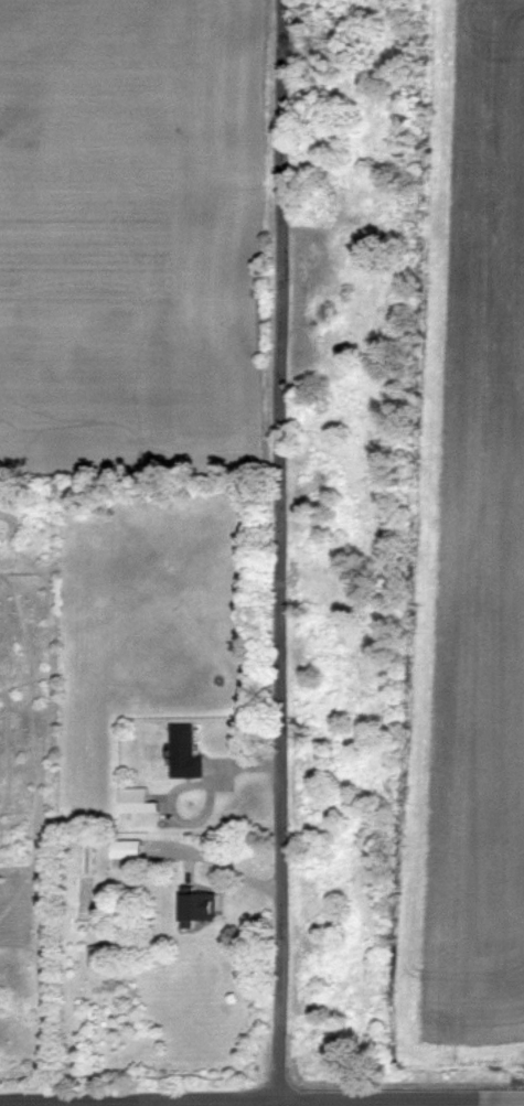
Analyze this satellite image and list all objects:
road: (281, 552)
building: (185, 753)
building: (127, 849)
building: (200, 909)
building: (98, 956)
road: (515, 1096)
road: (253, 1097)

